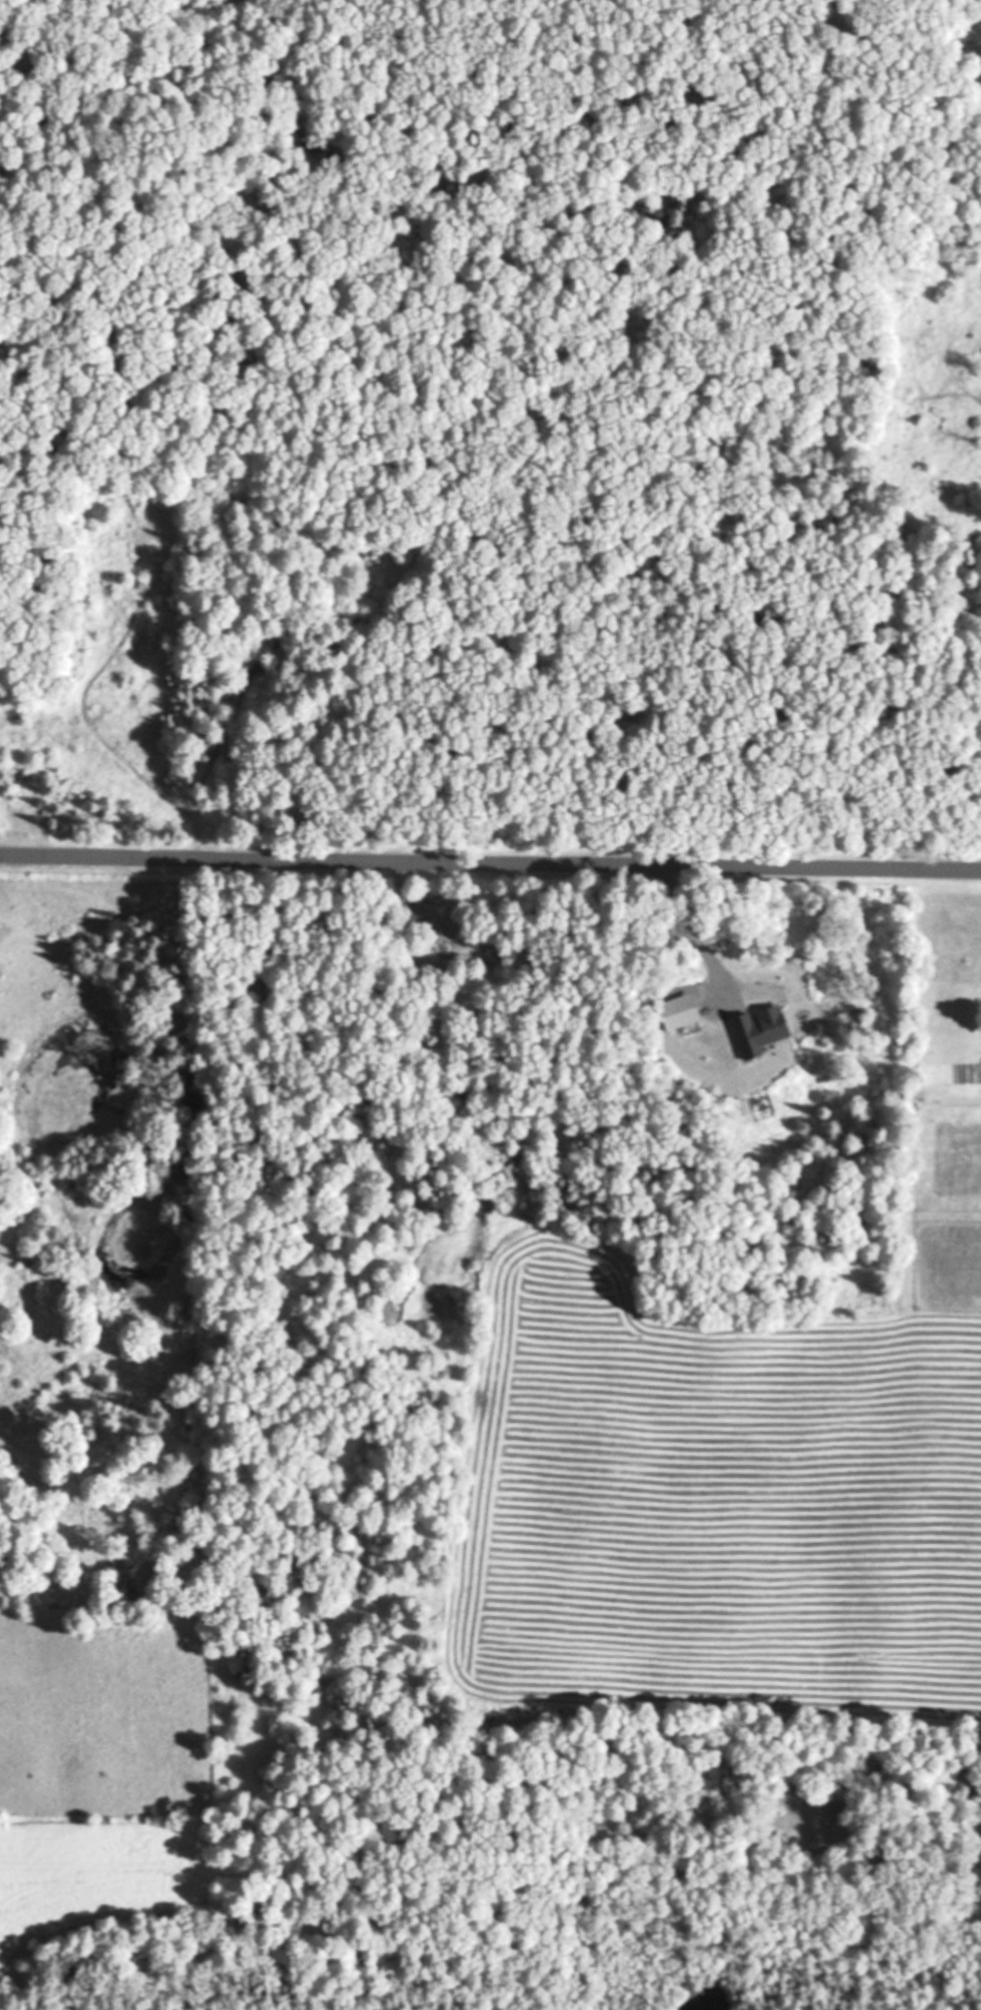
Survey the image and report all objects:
road: (490, 864)

